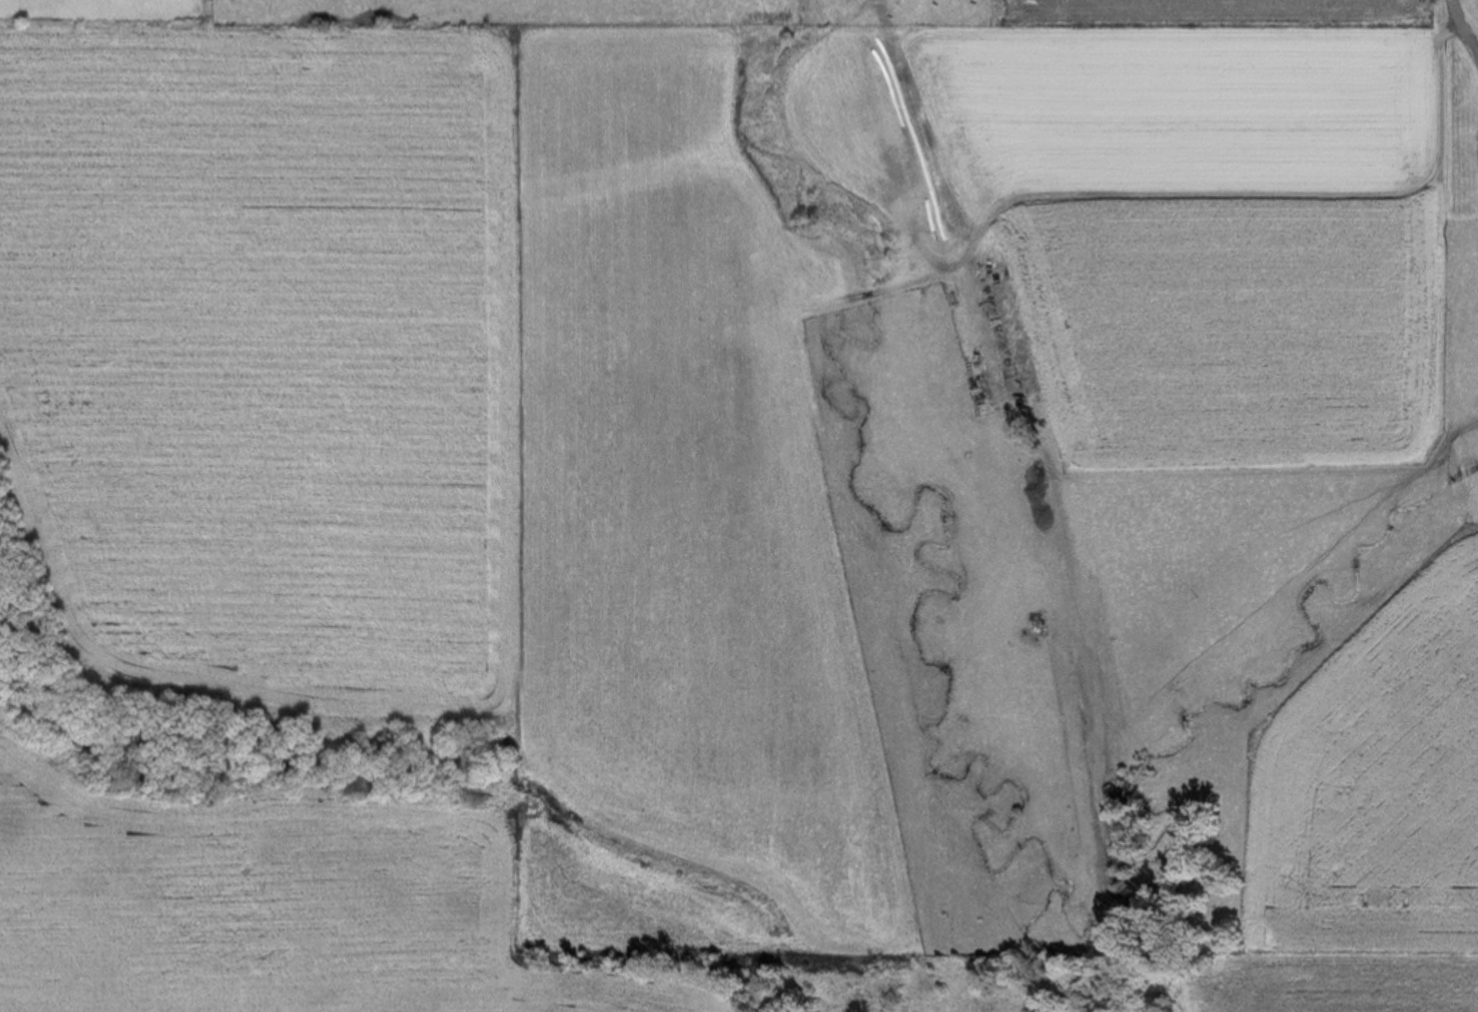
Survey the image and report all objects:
road: (1454, 36)

